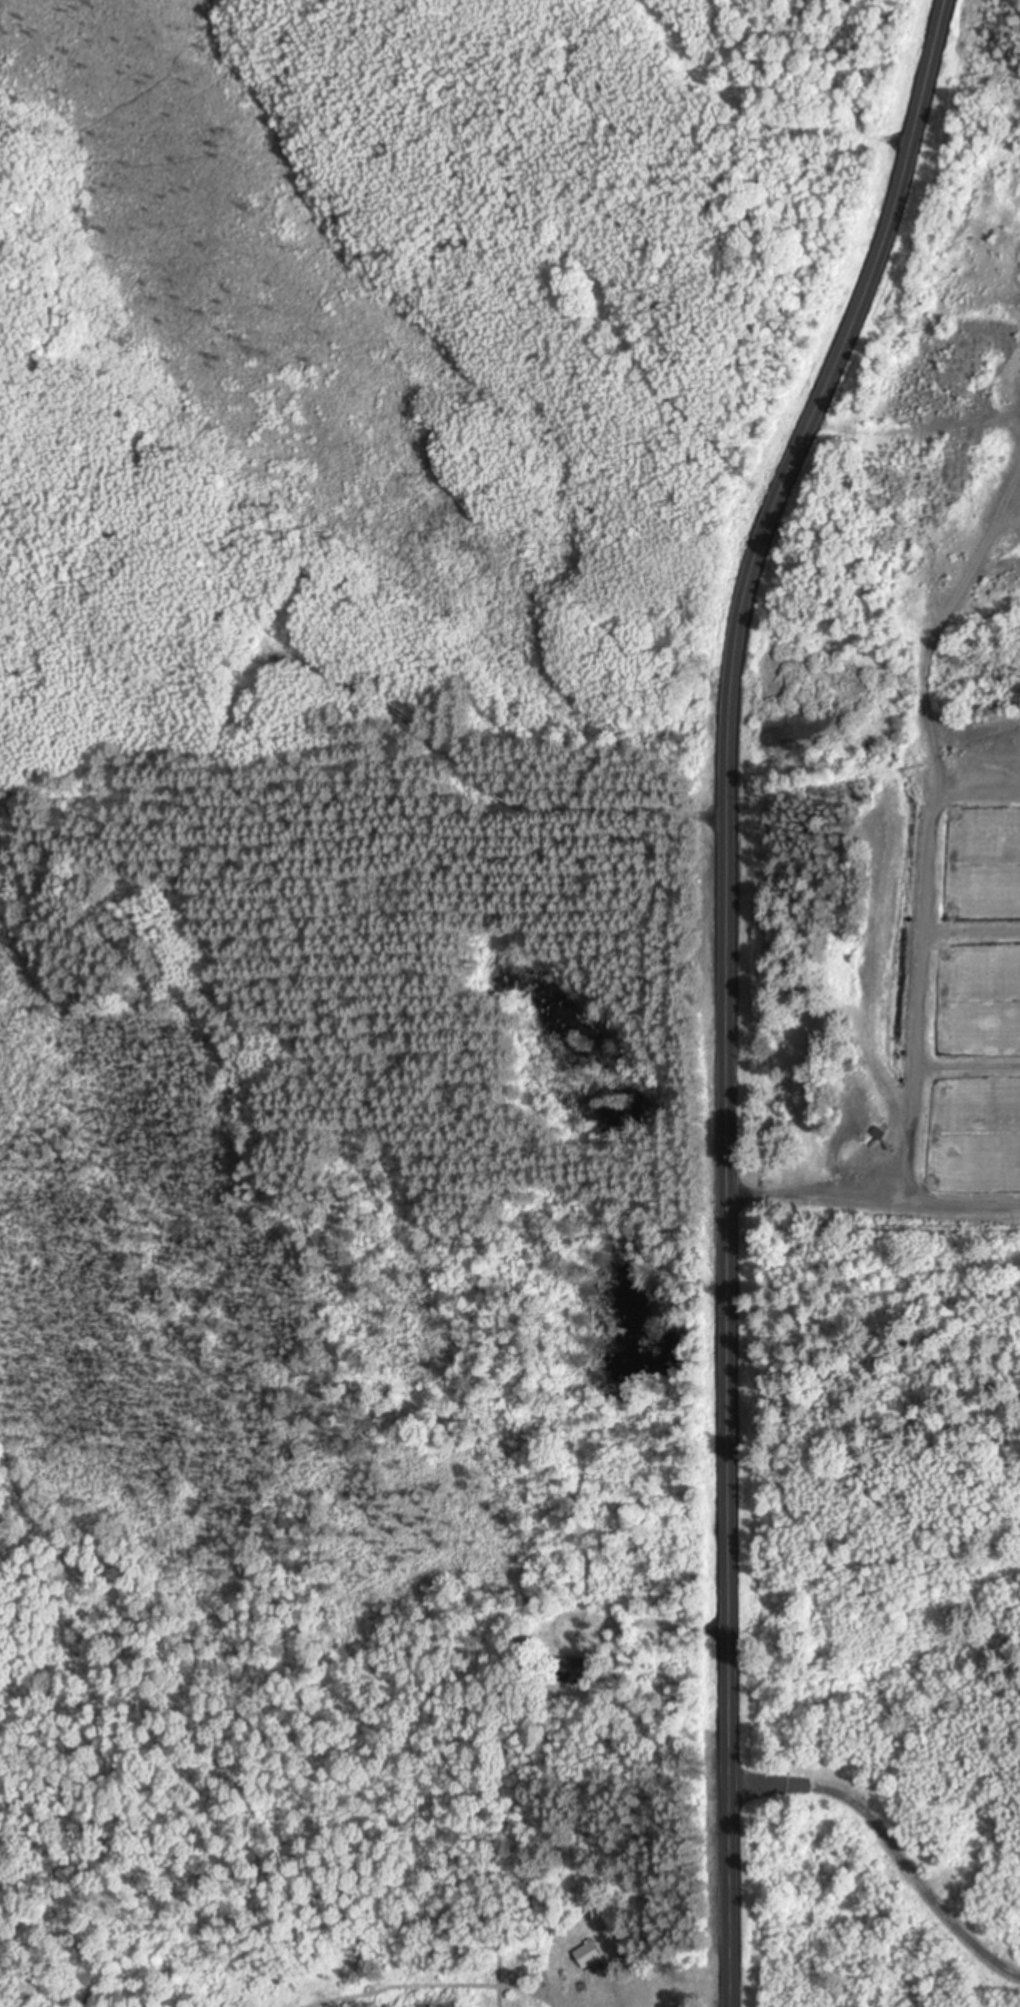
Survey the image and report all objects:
road: (724, 985)

